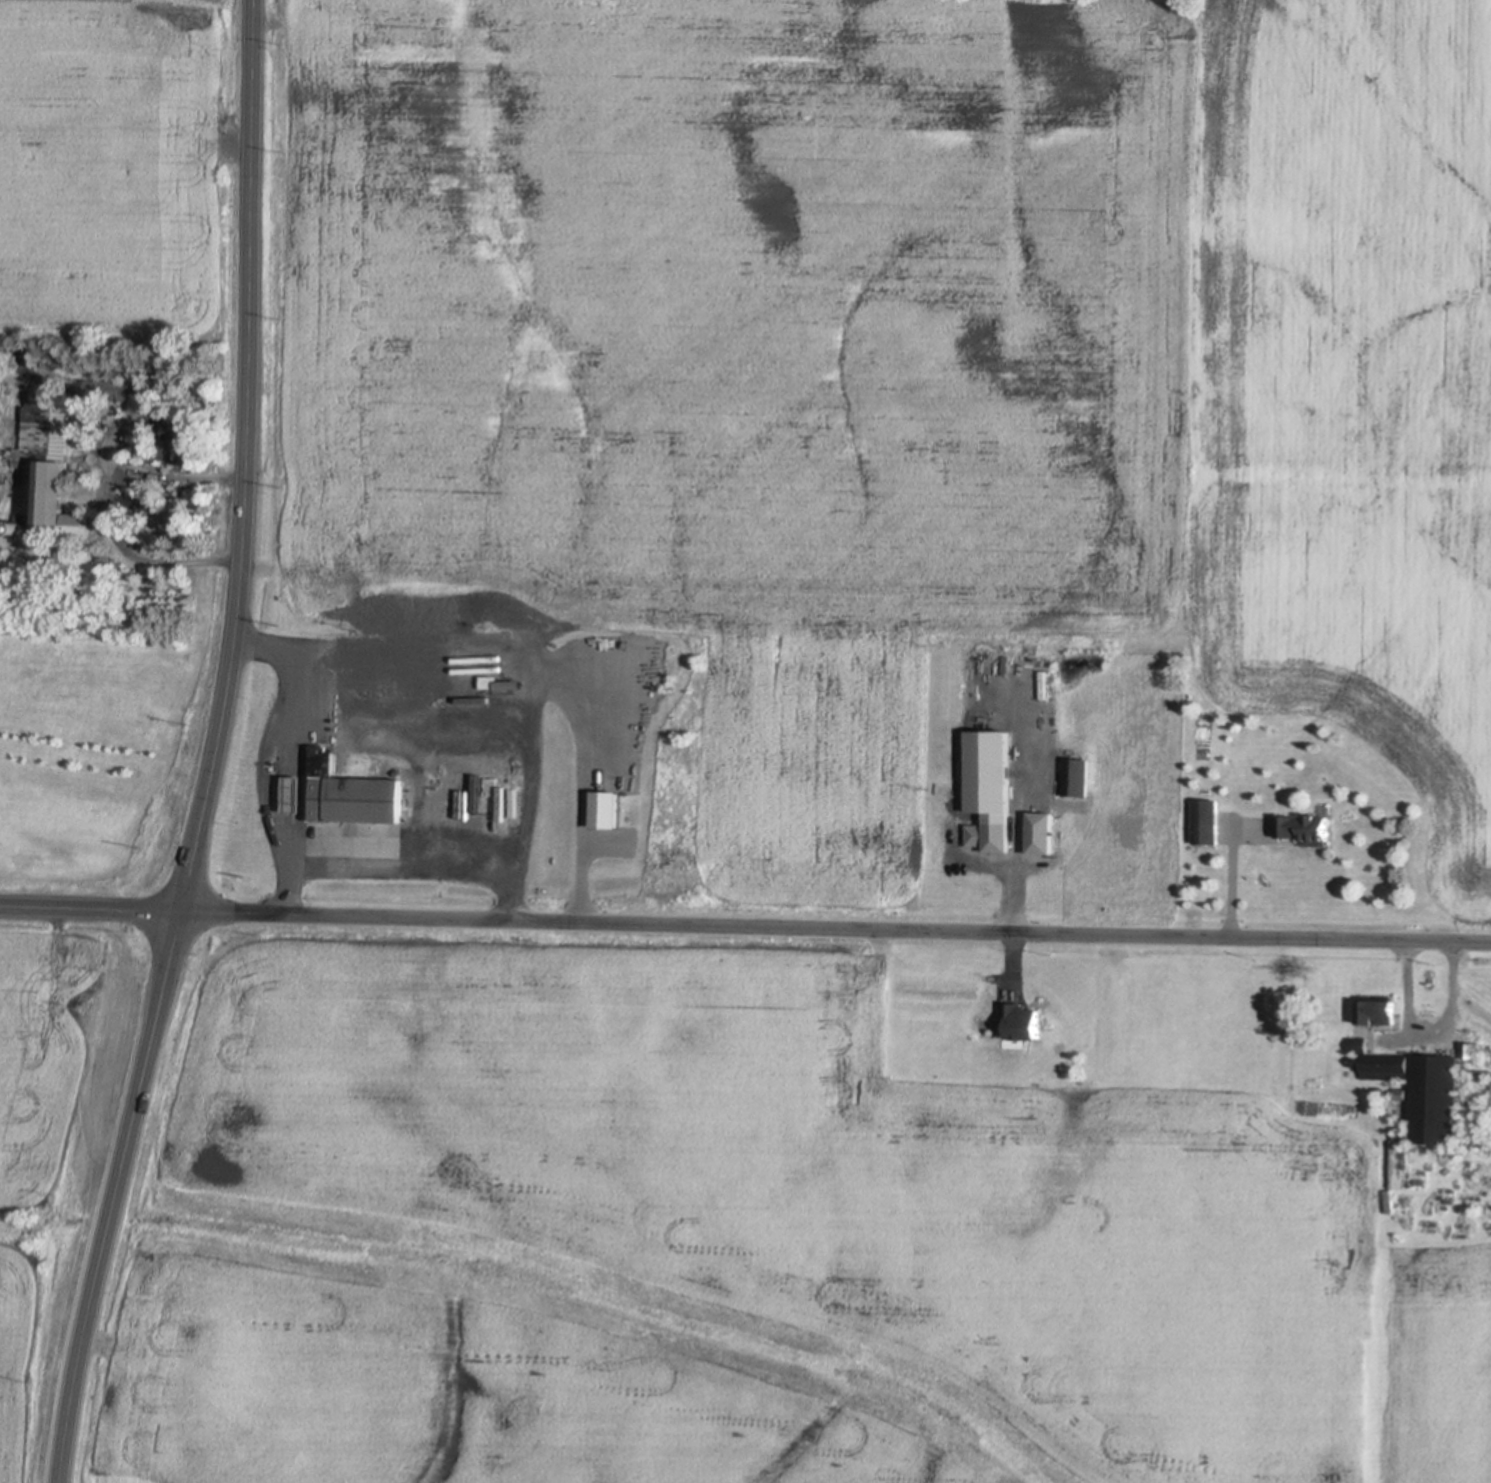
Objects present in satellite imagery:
park: (208, 1)
road: (234, 158)
building: (37, 396)
building: (128, 398)
building: (182, 439)
road: (246, 459)
building: (49, 472)
road: (102, 511)
road: (531, 669)
road: (288, 754)
building: (349, 795)
building: (606, 810)
building: (1203, 823)
road: (581, 827)
building: (1300, 829)
road: (403, 861)
road: (1229, 882)
road: (745, 924)
road: (1013, 958)
building: (1379, 1008)
building: (1023, 1023)
road: (1422, 1037)
building: (1361, 1044)
building: (1472, 1049)
building: (1384, 1065)
building: (1383, 1091)
building: (1402, 1093)
building: (1436, 1098)
building: (1402, 1123)
building: (1402, 1136)
building: (1422, 1181)
road: (115, 1197)
building: (1391, 1201)

